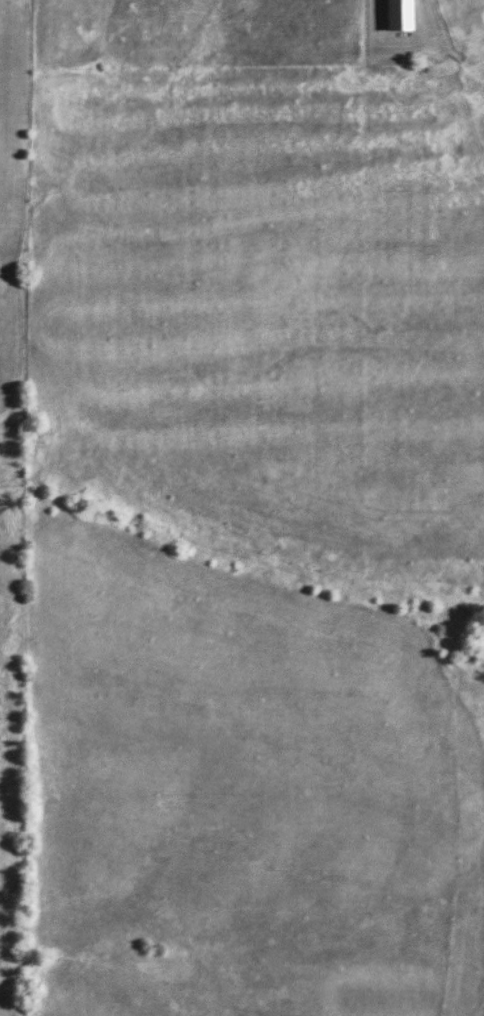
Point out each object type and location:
building: (400, 15)

